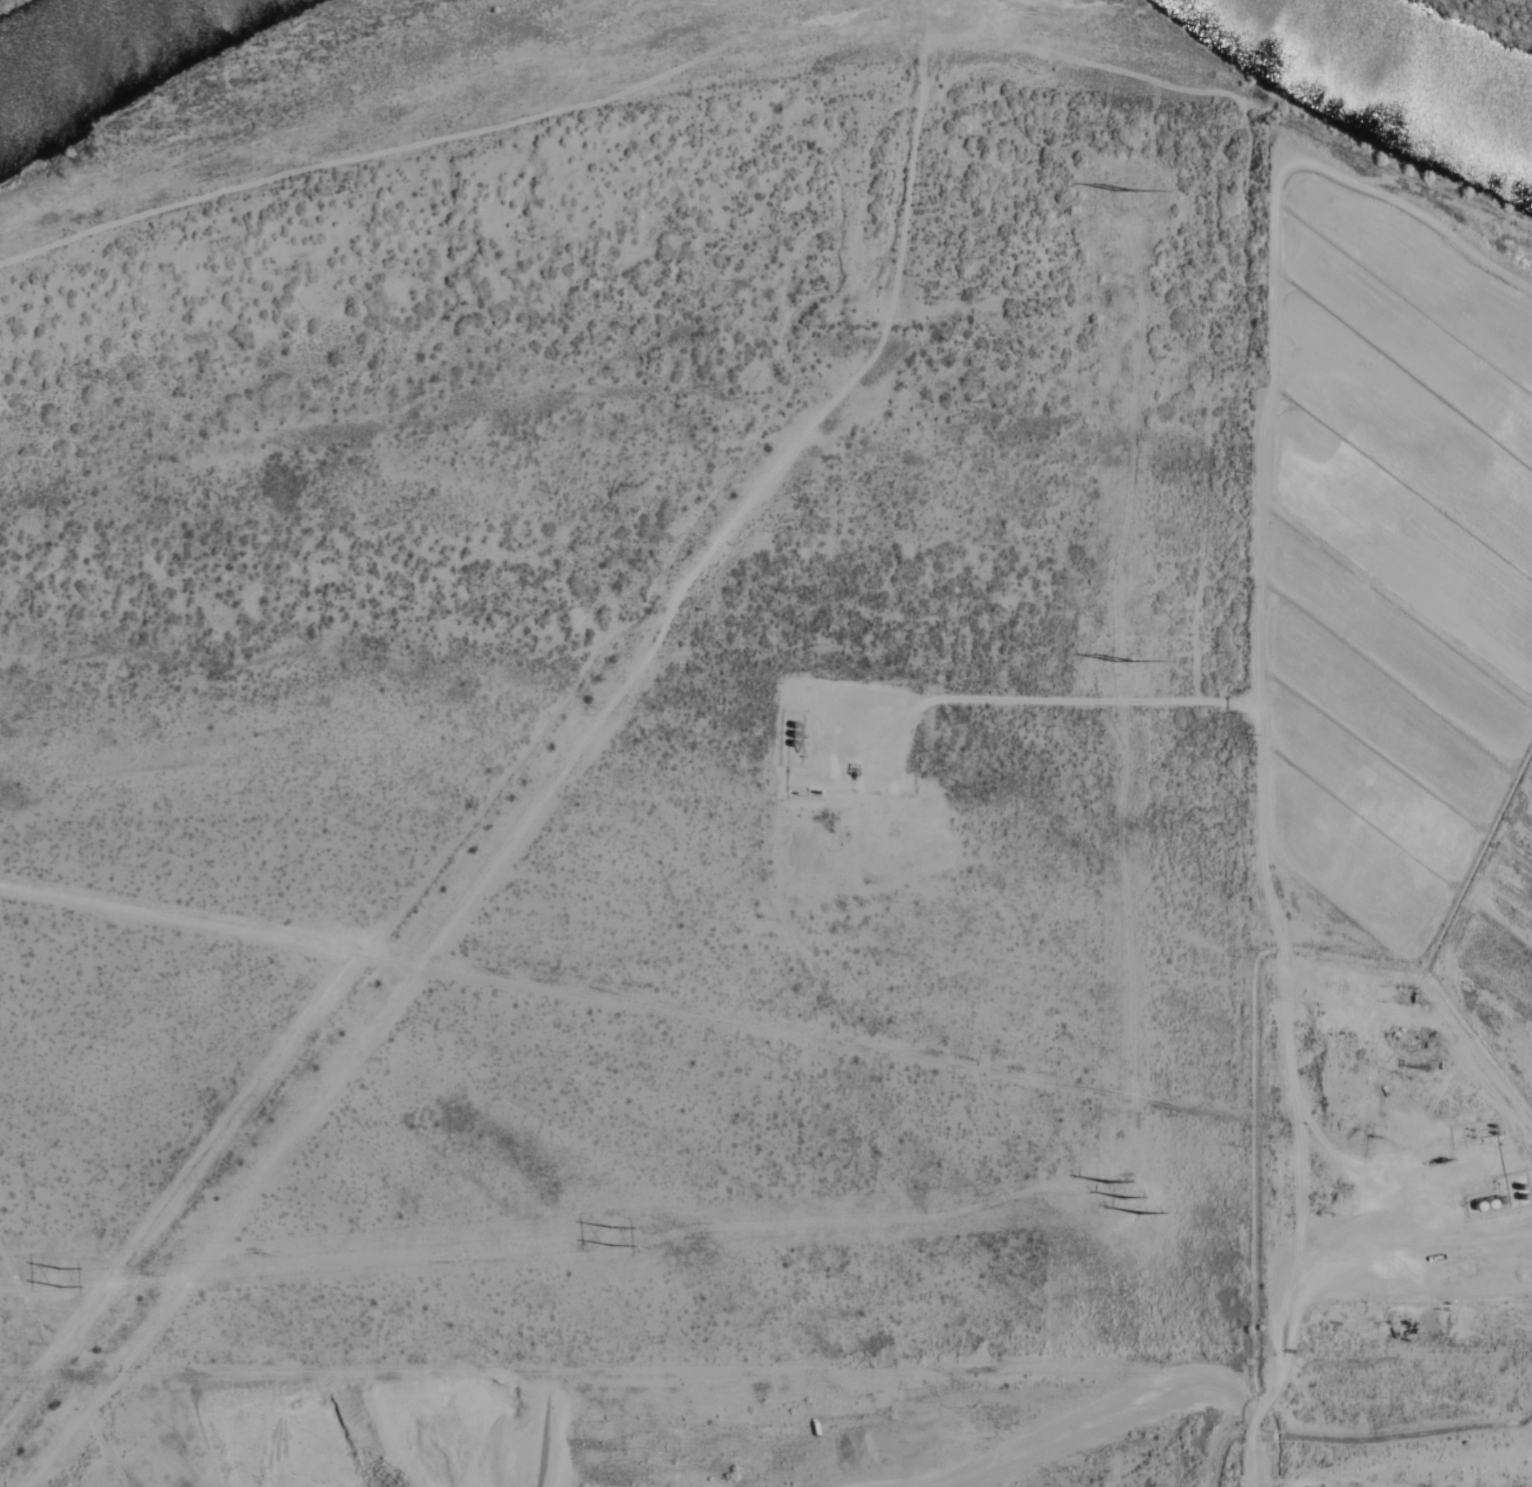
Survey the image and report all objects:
river: (87, 47)
river: (1404, 70)
road: (657, 93)
power tower: (1119, 189)
road: (1362, 361)
power tower: (1119, 659)
road: (1048, 700)
road: (526, 752)
road: (1263, 783)
road: (1364, 1192)
power tower: (1115, 1200)
power tower: (604, 1234)
power tower: (54, 1279)
road: (61, 1366)
road: (1317, 1480)

